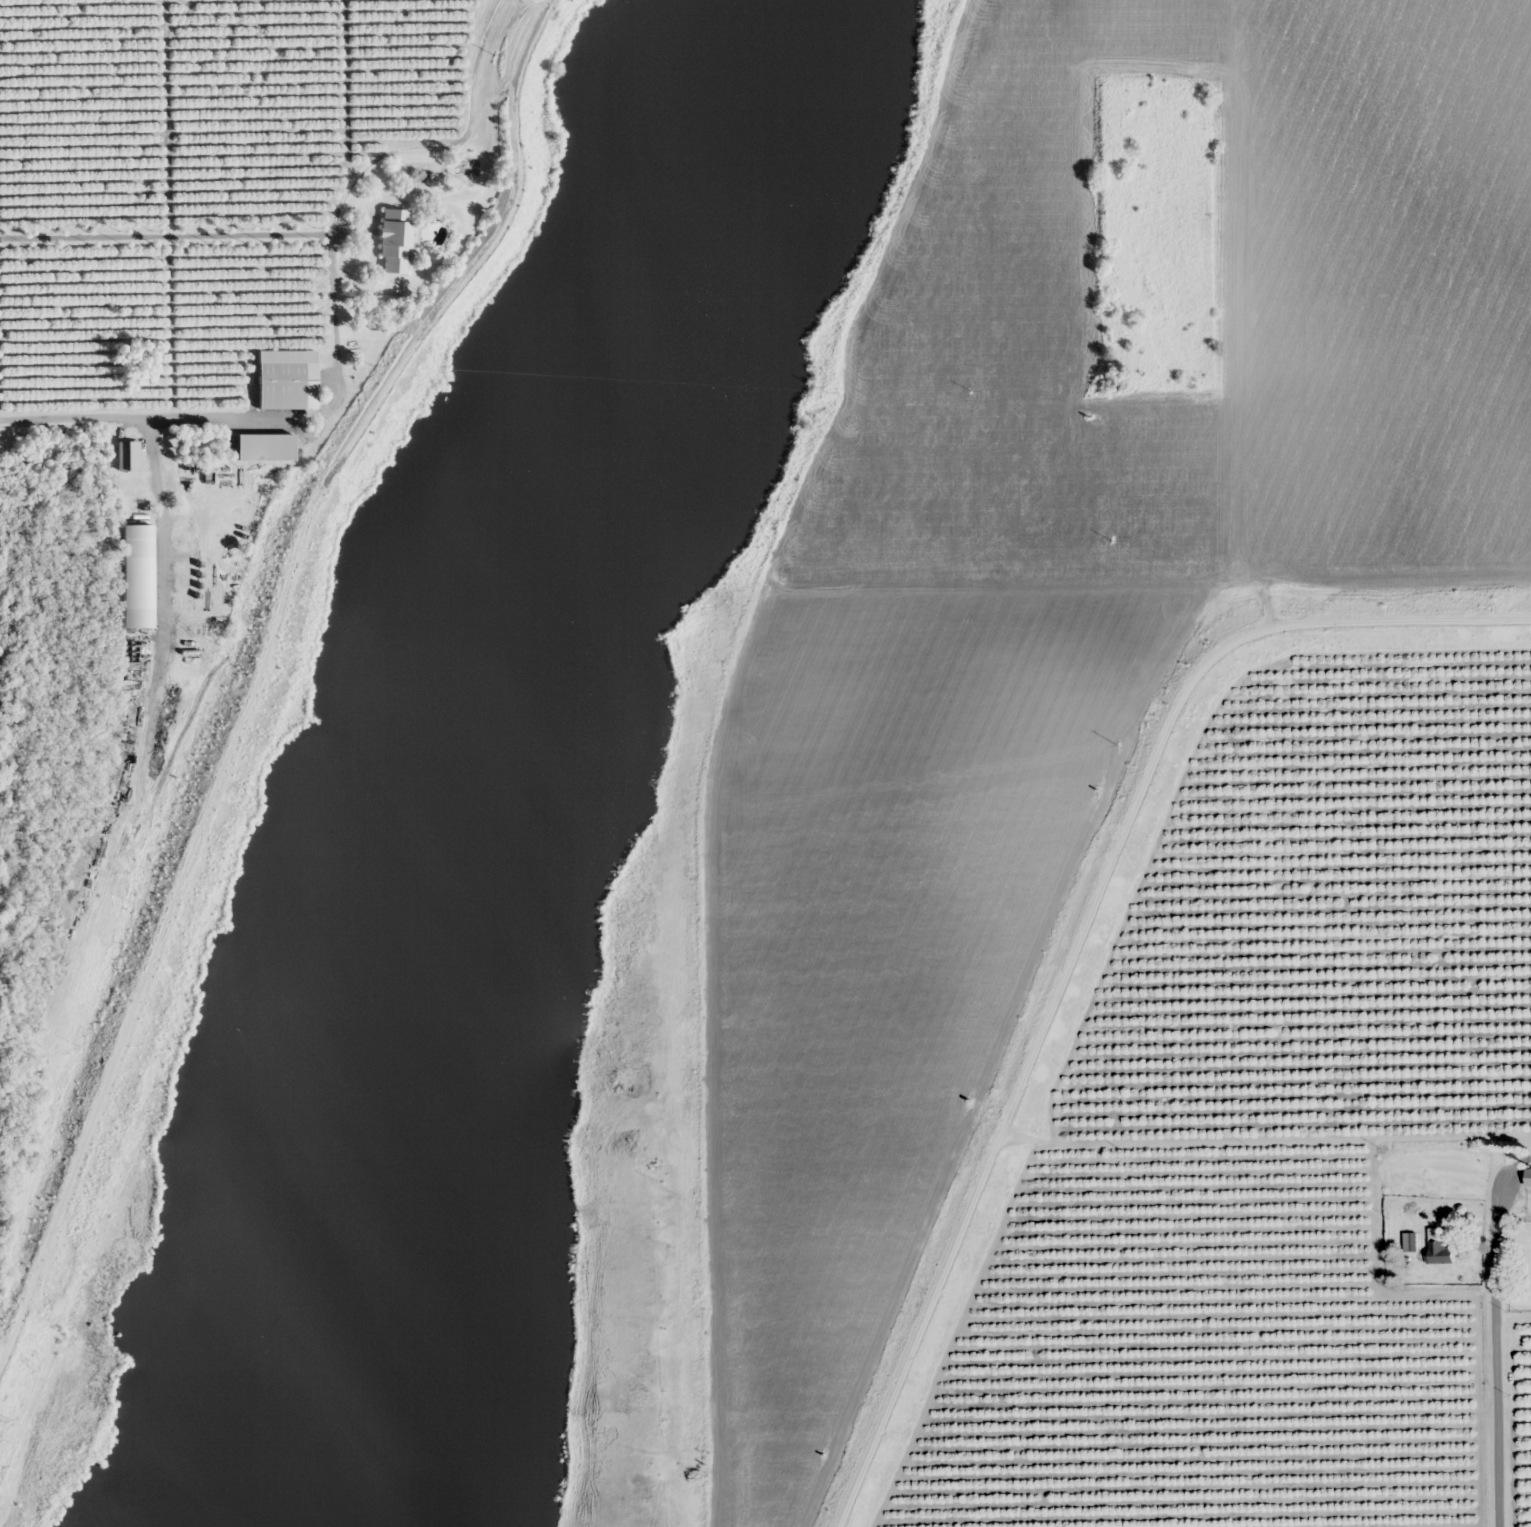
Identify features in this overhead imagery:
road: (1185, 187)
road: (216, 208)
building: (392, 241)
road: (1310, 374)
building: (286, 386)
road: (167, 395)
building: (264, 448)
road: (1518, 573)
road: (258, 674)
road: (763, 728)
building: (1527, 1178)
building: (1441, 1252)
building: (1528, 1258)

